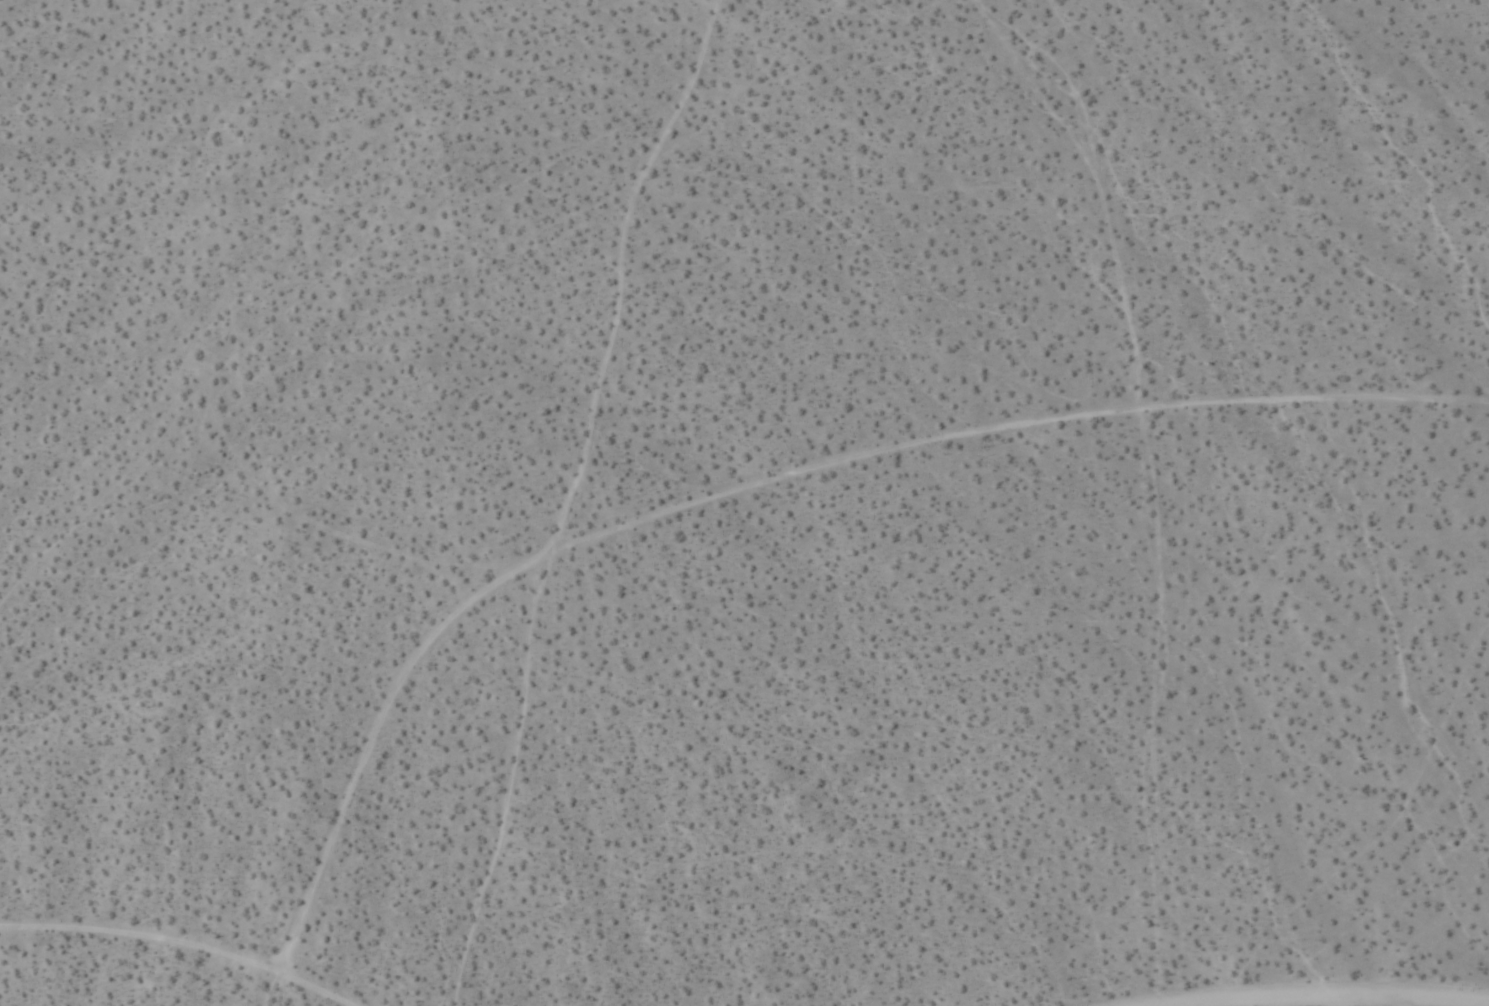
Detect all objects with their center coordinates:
road: (761, 488)
crop: (744, 503)
road: (174, 947)
road: (1338, 999)

